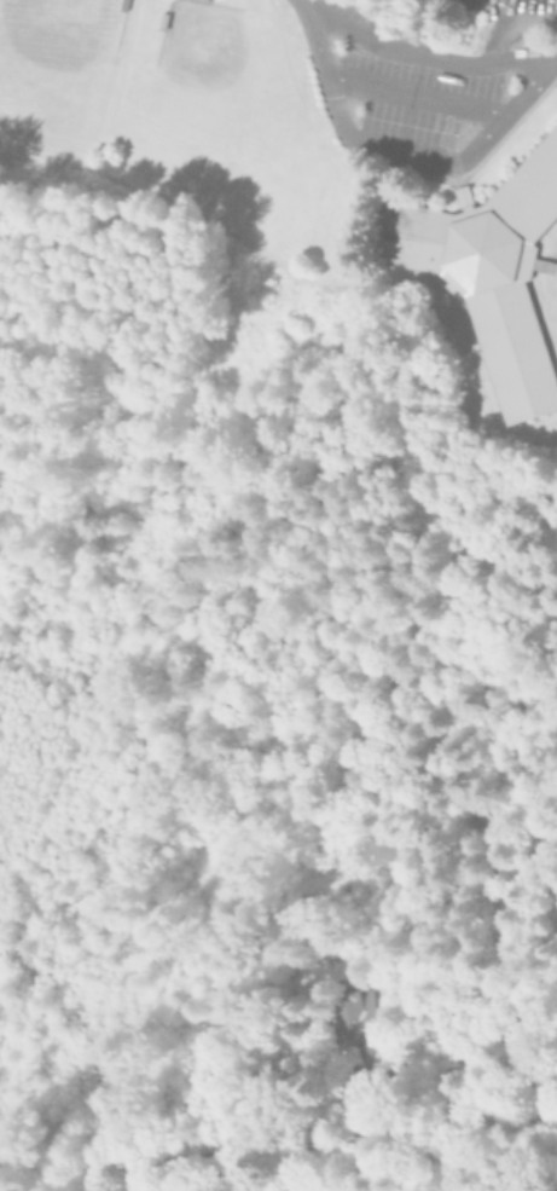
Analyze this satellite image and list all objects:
road: (511, 22)
road: (423, 54)
park: (56, 67)
park: (220, 80)
road: (417, 93)
road: (404, 150)
building: (494, 272)
building: (346, 1011)

